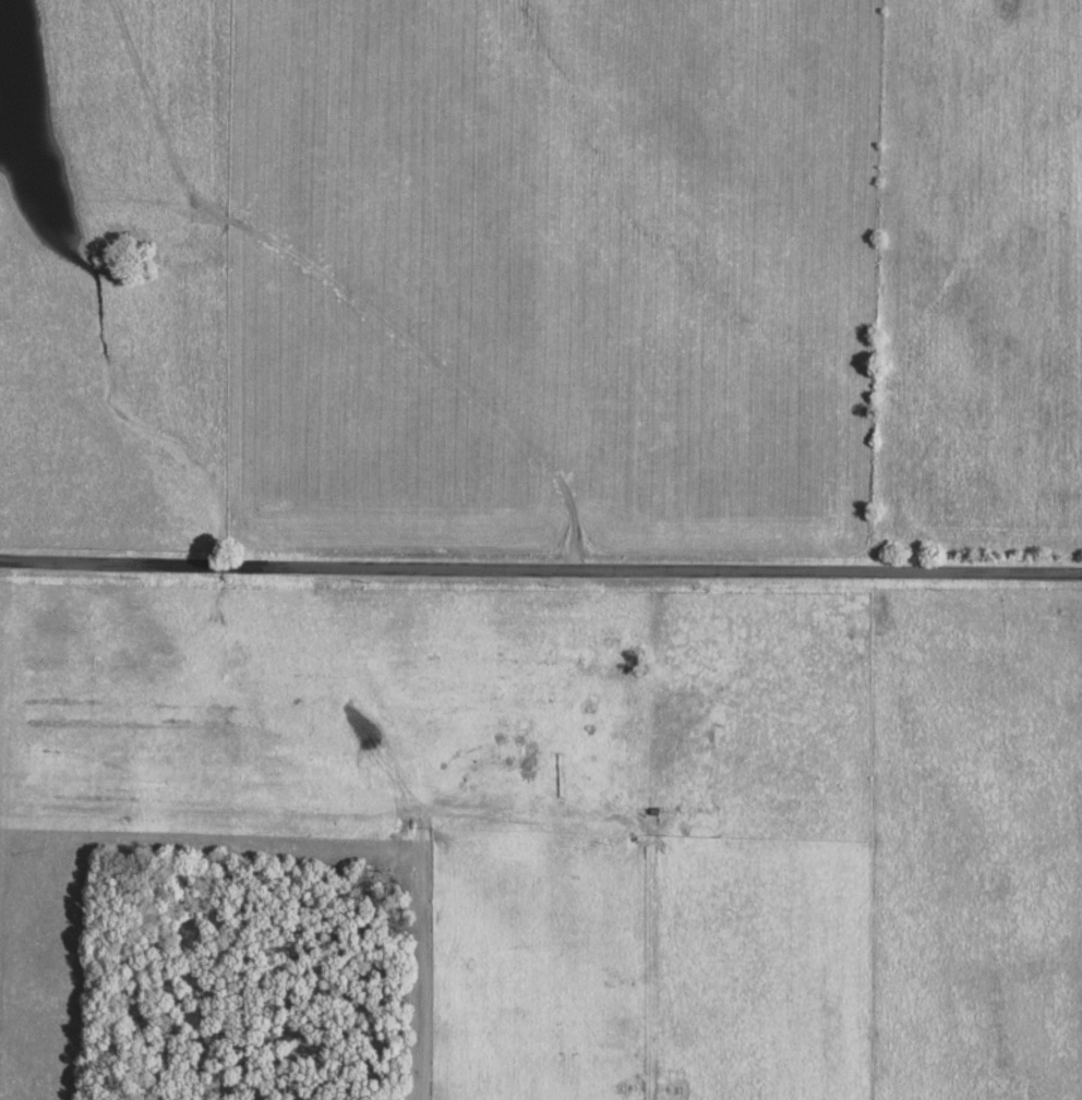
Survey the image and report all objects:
road: (540, 569)

